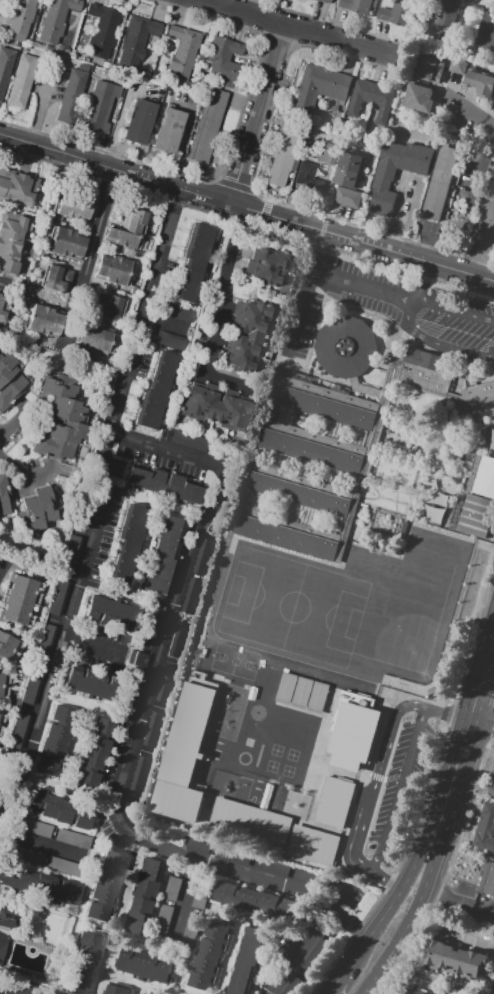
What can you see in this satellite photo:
building: (472, 0)
building: (324, 1)
building: (355, 5)
building: (447, 12)
building: (397, 13)
building: (20, 18)
building: (54, 20)
road: (292, 26)
building: (101, 29)
building: (486, 34)
building: (135, 40)
building: (28, 42)
building: (67, 50)
building: (182, 52)
building: (223, 58)
building: (107, 65)
building: (83, 66)
building: (5, 68)
building: (430, 70)
building: (473, 78)
building: (22, 82)
building: (318, 88)
building: (71, 92)
building: (165, 99)
building: (371, 99)
building: (420, 100)
building: (100, 107)
building: (492, 110)
road: (470, 113)
road: (257, 114)
building: (139, 121)
building: (207, 125)
road: (117, 129)
building: (168, 130)
road: (183, 137)
building: (321, 151)
building: (284, 158)
building: (383, 179)
building: (348, 180)
building: (306, 181)
building: (439, 182)
building: (16, 187)
building: (74, 204)
road: (246, 211)
road: (211, 216)
building: (485, 220)
building: (127, 230)
building: (65, 242)
building: (12, 243)
road: (91, 257)
building: (195, 261)
building: (267, 265)
building: (113, 269)
building: (54, 277)
parking lot: (170, 278)
road: (3, 285)
road: (458, 287)
road: (305, 293)
road: (383, 293)
building: (3, 301)
building: (109, 307)
parking lot: (392, 309)
building: (178, 312)
road: (226, 316)
building: (43, 320)
road: (410, 321)
road: (168, 324)
building: (247, 334)
building: (95, 338)
building: (170, 342)
parking lot: (144, 365)
building: (10, 379)
building: (157, 393)
building: (215, 408)
building: (69, 417)
parking lot: (167, 435)
building: (283, 440)
building: (189, 441)
building: (492, 445)
parking lot: (160, 462)
building: (163, 485)
building: (5, 499)
building: (476, 504)
road: (102, 507)
building: (40, 510)
building: (434, 514)
building: (404, 529)
parking lot: (107, 536)
building: (131, 545)
building: (72, 553)
building: (203, 557)
building: (163, 558)
building: (234, 566)
road: (4, 568)
road: (129, 591)
building: (226, 592)
building: (191, 597)
building: (58, 599)
building: (20, 600)
building: (112, 612)
park: (294, 612)
building: (281, 619)
building: (154, 623)
road: (476, 626)
building: (178, 641)
building: (45, 642)
park: (408, 647)
building: (9, 648)
road: (92, 648)
building: (432, 648)
building: (138, 658)
park: (233, 660)
building: (165, 684)
building: (4, 685)
building: (92, 687)
building: (285, 687)
building: (32, 688)
building: (300, 692)
building: (317, 697)
building: (133, 700)
road: (450, 701)
road: (470, 701)
road: (443, 714)
building: (2, 721)
road: (143, 721)
road: (482, 722)
road: (442, 728)
building: (151, 729)
building: (281, 729)
building: (18, 731)
building: (353, 735)
building: (55, 740)
road: (462, 742)
building: (94, 751)
building: (183, 760)
park: (293, 764)
building: (138, 773)
road: (377, 775)
parking lot: (106, 785)
building: (491, 786)
road: (400, 793)
building: (334, 805)
road: (421, 806)
building: (57, 809)
building: (249, 824)
building: (34, 827)
building: (485, 828)
building: (73, 838)
road: (41, 844)
building: (201, 846)
building: (314, 846)
building: (25, 855)
building: (233, 856)
building: (65, 866)
building: (272, 867)
building: (302, 875)
building: (487, 879)
road: (386, 882)
building: (38, 885)
building: (106, 886)
building: (173, 888)
building: (202, 892)
road: (185, 893)
building: (145, 896)
building: (252, 900)
road: (341, 900)
road: (459, 902)
road: (385, 914)
building: (7, 916)
building: (163, 922)
road: (75, 924)
park: (42, 925)
road: (407, 926)
building: (191, 930)
road: (112, 933)
building: (5, 934)
road: (3, 937)
road: (466, 939)
road: (301, 952)
building: (312, 953)
building: (209, 955)
building: (454, 959)
building: (247, 960)
building: (81, 963)
building: (145, 966)
road: (45, 975)
road: (423, 982)
building: (290, 985)
road: (336, 987)
building: (19, 990)
building: (115, 990)
road: (57, 992)
building: (422, 993)

